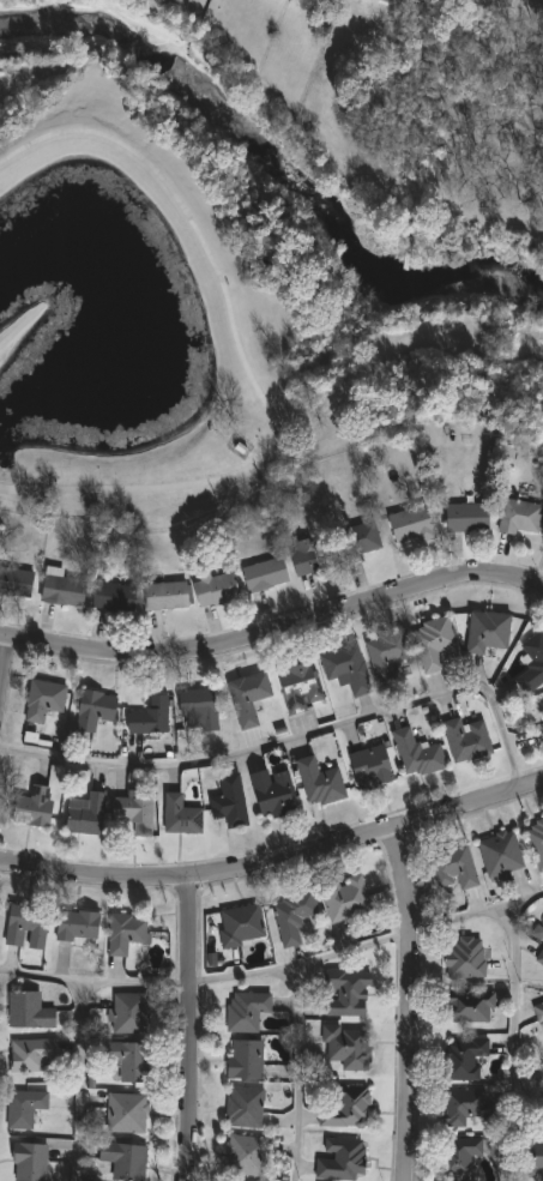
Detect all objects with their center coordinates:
building: (386, 0)
park: (481, 210)
park: (170, 293)
road: (17, 326)
road: (241, 354)
building: (465, 516)
building: (519, 516)
building: (410, 524)
building: (360, 538)
building: (312, 554)
building: (264, 573)
building: (16, 579)
building: (216, 588)
building: (62, 589)
building: (165, 595)
building: (113, 596)
building: (485, 631)
road: (274, 637)
building: (432, 641)
building: (387, 653)
building: (535, 653)
road: (4, 664)
building: (346, 668)
building: (298, 686)
building: (44, 698)
building: (247, 698)
building: (198, 707)
building: (93, 709)
building: (149, 717)
building: (542, 728)
road: (296, 734)
building: (466, 739)
building: (415, 753)
building: (370, 765)
building: (320, 782)
building: (272, 793)
building: (228, 800)
building: (34, 805)
building: (86, 813)
building: (135, 813)
building: (179, 814)
building: (536, 840)
building: (500, 854)
road: (276, 866)
building: (452, 866)
building: (344, 897)
building: (292, 914)
building: (77, 923)
building: (25, 924)
building: (240, 924)
building: (126, 932)
road: (368, 945)
building: (464, 956)
building: (539, 959)
road: (93, 978)
building: (348, 990)
road: (410, 1004)
building: (466, 1006)
building: (28, 1008)
building: (245, 1008)
building: (537, 1010)
building: (129, 1011)
road: (514, 1012)
road: (189, 1032)
building: (348, 1046)
building: (31, 1053)
building: (461, 1055)
building: (245, 1058)
building: (129, 1059)
road: (297, 1074)
road: (80, 1079)
building: (243, 1105)
building: (463, 1105)
building: (345, 1107)
building: (25, 1109)
building: (126, 1111)
building: (245, 1155)
building: (531, 1156)
building: (459, 1157)
building: (340, 1158)
building: (123, 1159)
building: (29, 1162)
building: (225, 1180)

